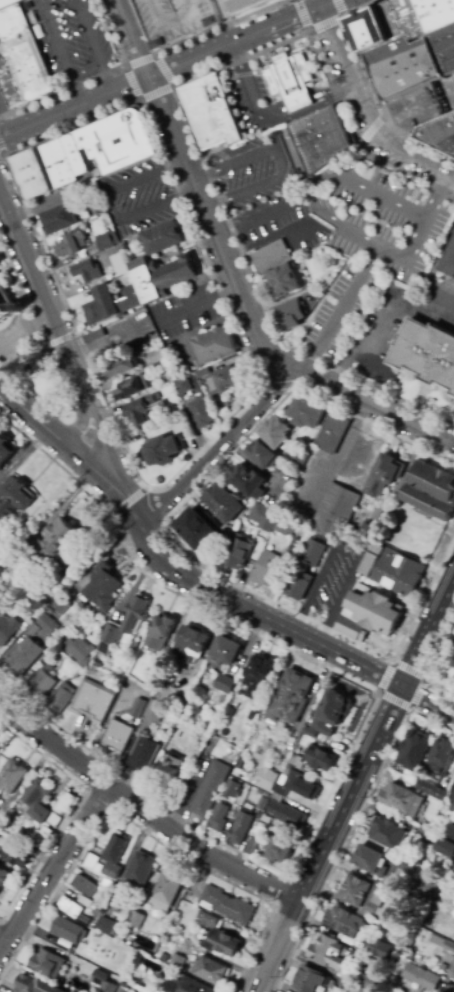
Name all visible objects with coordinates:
building: (9, 3)
road: (317, 3)
road: (326, 3)
building: (240, 6)
traffic signals: (319, 7)
building: (438, 15)
building: (409, 17)
building: (179, 21)
parking garage: (179, 21)
road: (225, 21)
building: (13, 22)
road: (318, 26)
building: (376, 29)
road: (86, 33)
road: (54, 39)
road: (191, 39)
parking lot: (75, 41)
building: (446, 49)
building: (406, 64)
road: (126, 69)
building: (23, 71)
road: (85, 72)
road: (159, 72)
road: (349, 75)
road: (95, 78)
building: (289, 78)
road: (105, 79)
road: (370, 86)
road: (75, 91)
parking lot: (248, 98)
building: (211, 114)
road: (189, 126)
road: (369, 129)
building: (440, 133)
building: (318, 138)
building: (117, 141)
road: (2, 153)
building: (74, 154)
road: (280, 159)
road: (417, 161)
building: (56, 163)
parking lot: (252, 170)
building: (30, 174)
road: (195, 185)
road: (312, 186)
road: (434, 197)
parking lot: (137, 198)
road: (109, 208)
parking lot: (382, 210)
building: (101, 213)
building: (58, 219)
building: (162, 238)
road: (415, 239)
building: (60, 240)
building: (106, 241)
building: (72, 244)
building: (271, 249)
building: (321, 252)
building: (449, 260)
building: (91, 261)
building: (120, 265)
building: (84, 271)
building: (286, 271)
building: (165, 279)
road: (43, 297)
building: (108, 297)
road: (196, 306)
building: (6, 307)
road: (340, 309)
building: (141, 315)
building: (293, 316)
building: (94, 337)
road: (58, 340)
building: (213, 345)
building: (429, 346)
road: (369, 349)
building: (158, 357)
building: (129, 360)
building: (162, 365)
road: (2, 368)
building: (203, 372)
road: (52, 374)
park: (37, 376)
road: (313, 376)
building: (134, 377)
building: (224, 380)
building: (183, 386)
road: (275, 386)
building: (131, 388)
road: (369, 403)
building: (146, 405)
building: (178, 405)
building: (306, 412)
building: (202, 413)
road: (32, 417)
road: (79, 426)
building: (167, 426)
building: (276, 432)
building: (333, 432)
road: (102, 439)
road: (216, 445)
building: (4, 451)
building: (162, 451)
building: (262, 455)
building: (297, 462)
road: (84, 463)
road: (134, 472)
building: (384, 476)
building: (249, 481)
building: (432, 491)
road: (123, 497)
building: (14, 498)
road: (129, 500)
building: (223, 503)
building: (335, 511)
building: (264, 517)
building: (285, 528)
building: (197, 530)
building: (228, 531)
building: (371, 532)
road: (173, 541)
building: (53, 544)
building: (239, 547)
building: (295, 547)
building: (267, 569)
building: (394, 569)
building: (304, 570)
building: (1, 572)
building: (15, 582)
road: (320, 582)
road: (347, 586)
building: (3, 587)
building: (103, 587)
building: (60, 604)
building: (369, 613)
building: (48, 625)
building: (124, 625)
road: (285, 626)
building: (8, 628)
building: (33, 630)
building: (160, 633)
building: (190, 644)
building: (54, 645)
building: (78, 651)
building: (224, 652)
building: (24, 657)
road: (392, 662)
building: (452, 662)
building: (99, 663)
road: (433, 664)
building: (134, 668)
building: (197, 669)
building: (155, 670)
building: (69, 671)
building: (259, 673)
building: (41, 682)
building: (224, 684)
building: (291, 697)
building: (61, 699)
building: (93, 701)
building: (237, 703)
building: (138, 709)
building: (154, 711)
building: (307, 712)
building: (332, 712)
building: (250, 713)
road: (363, 723)
building: (310, 733)
building: (117, 737)
building: (303, 739)
building: (272, 747)
building: (415, 751)
building: (143, 755)
building: (320, 758)
building: (441, 758)
building: (296, 762)
building: (169, 770)
building: (11, 777)
building: (265, 779)
road: (352, 785)
building: (301, 786)
building: (232, 789)
building: (273, 789)
building: (210, 790)
building: (432, 791)
building: (452, 795)
building: (38, 799)
building: (402, 799)
building: (261, 803)
building: (64, 804)
road: (142, 809)
building: (288, 815)
building: (218, 818)
building: (55, 820)
building: (241, 827)
building: (261, 829)
road: (353, 829)
building: (450, 831)
building: (387, 833)
building: (43, 838)
building: (445, 848)
building: (251, 850)
building: (278, 850)
building: (16, 855)
building: (114, 855)
building: (372, 861)
building: (93, 863)
road: (53, 865)
building: (452, 867)
building: (141, 869)
building: (4, 877)
building: (391, 881)
building: (108, 884)
building: (85, 886)
building: (432, 887)
building: (166, 891)
building: (363, 893)
building: (228, 905)
building: (71, 907)
building: (97, 907)
building: (116, 907)
building: (448, 910)
building: (137, 920)
building: (207, 920)
building: (346, 922)
building: (105, 925)
building: (67, 930)
building: (408, 931)
building: (443, 933)
building: (386, 935)
road: (2, 939)
building: (223, 944)
building: (442, 944)
building: (330, 952)
building: (377, 953)
building: (175, 960)
building: (44, 962)
building: (211, 971)
building: (421, 977)
building: (453, 977)
building: (310, 979)
building: (370, 981)
building: (103, 982)
building: (35, 985)
building: (190, 985)
building: (349, 985)

